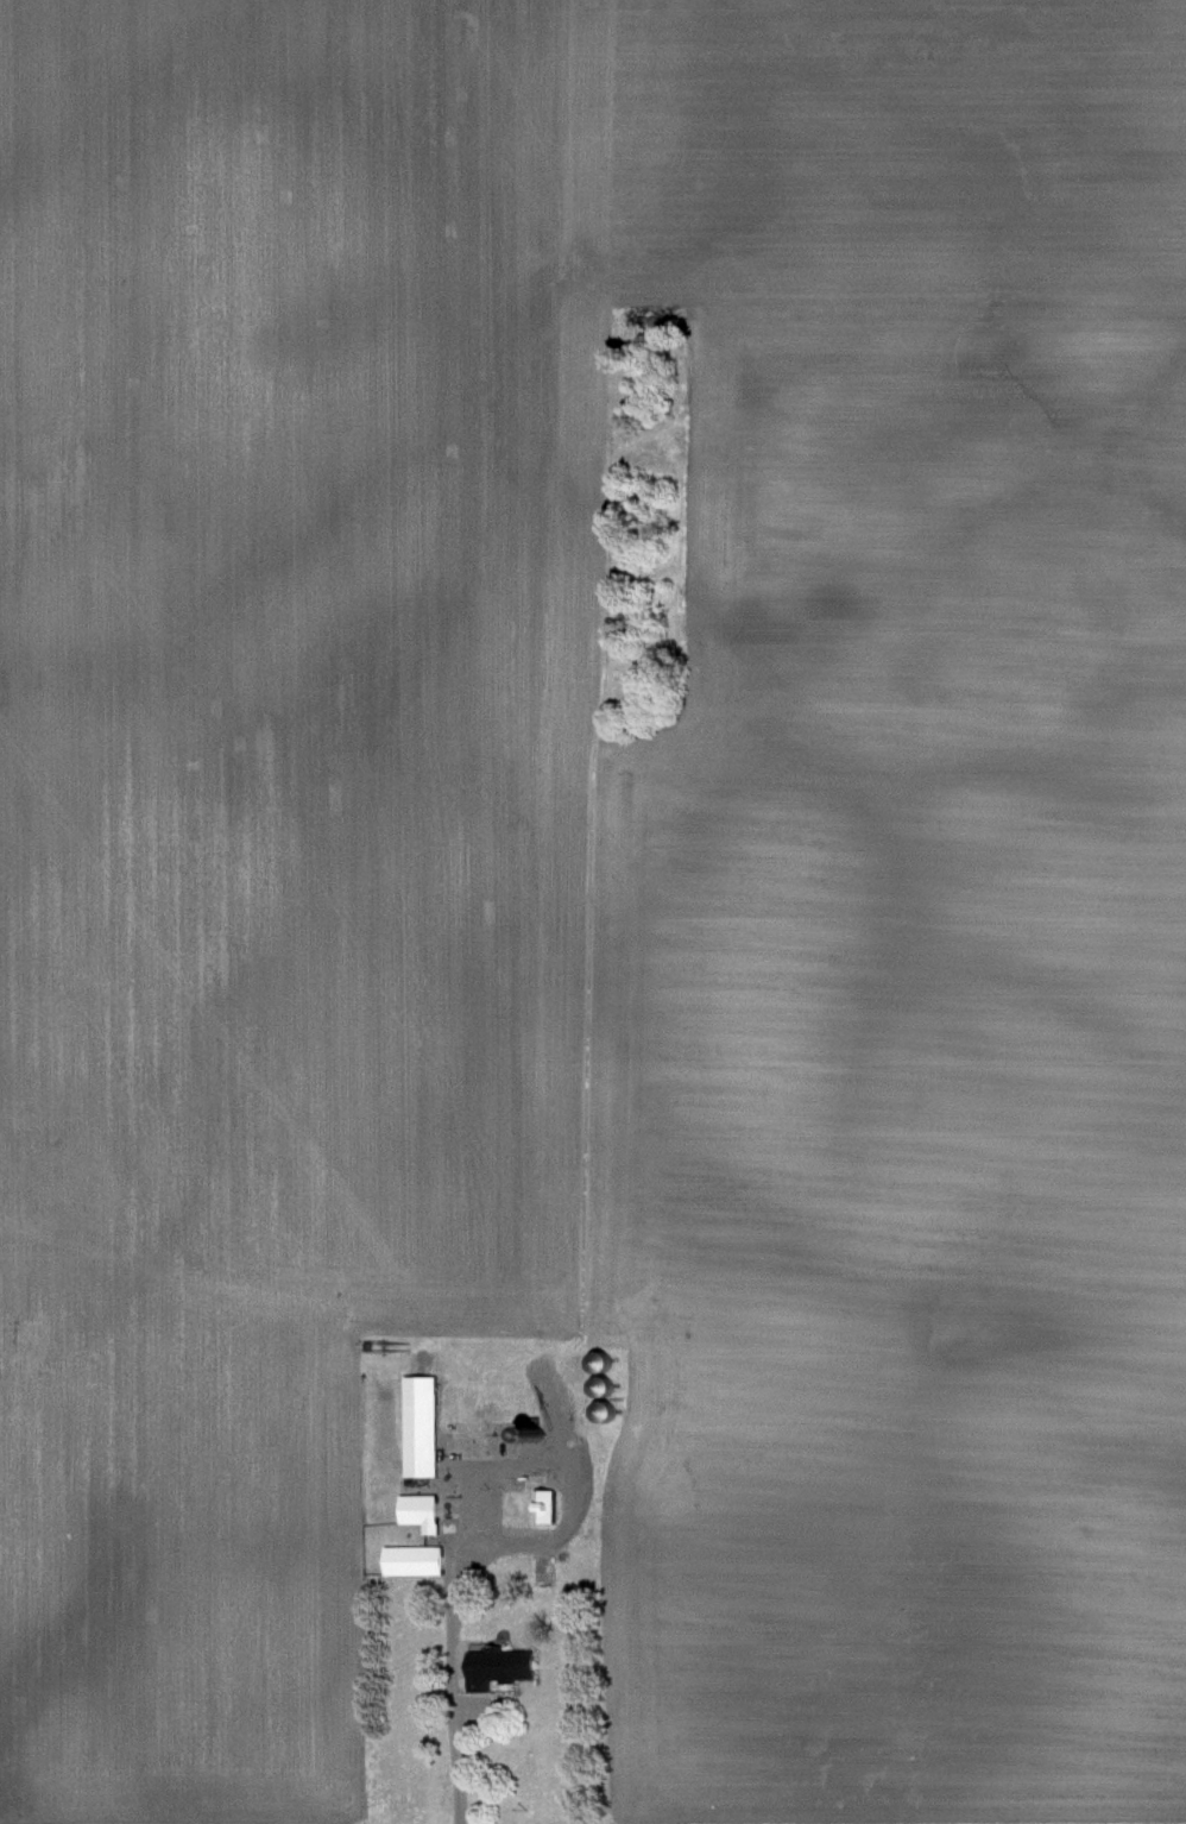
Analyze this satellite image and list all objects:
building: (416, 1423)
road: (568, 1465)
building: (540, 1503)
building: (416, 1509)
building: (408, 1558)
building: (492, 1665)
road: (450, 1679)

